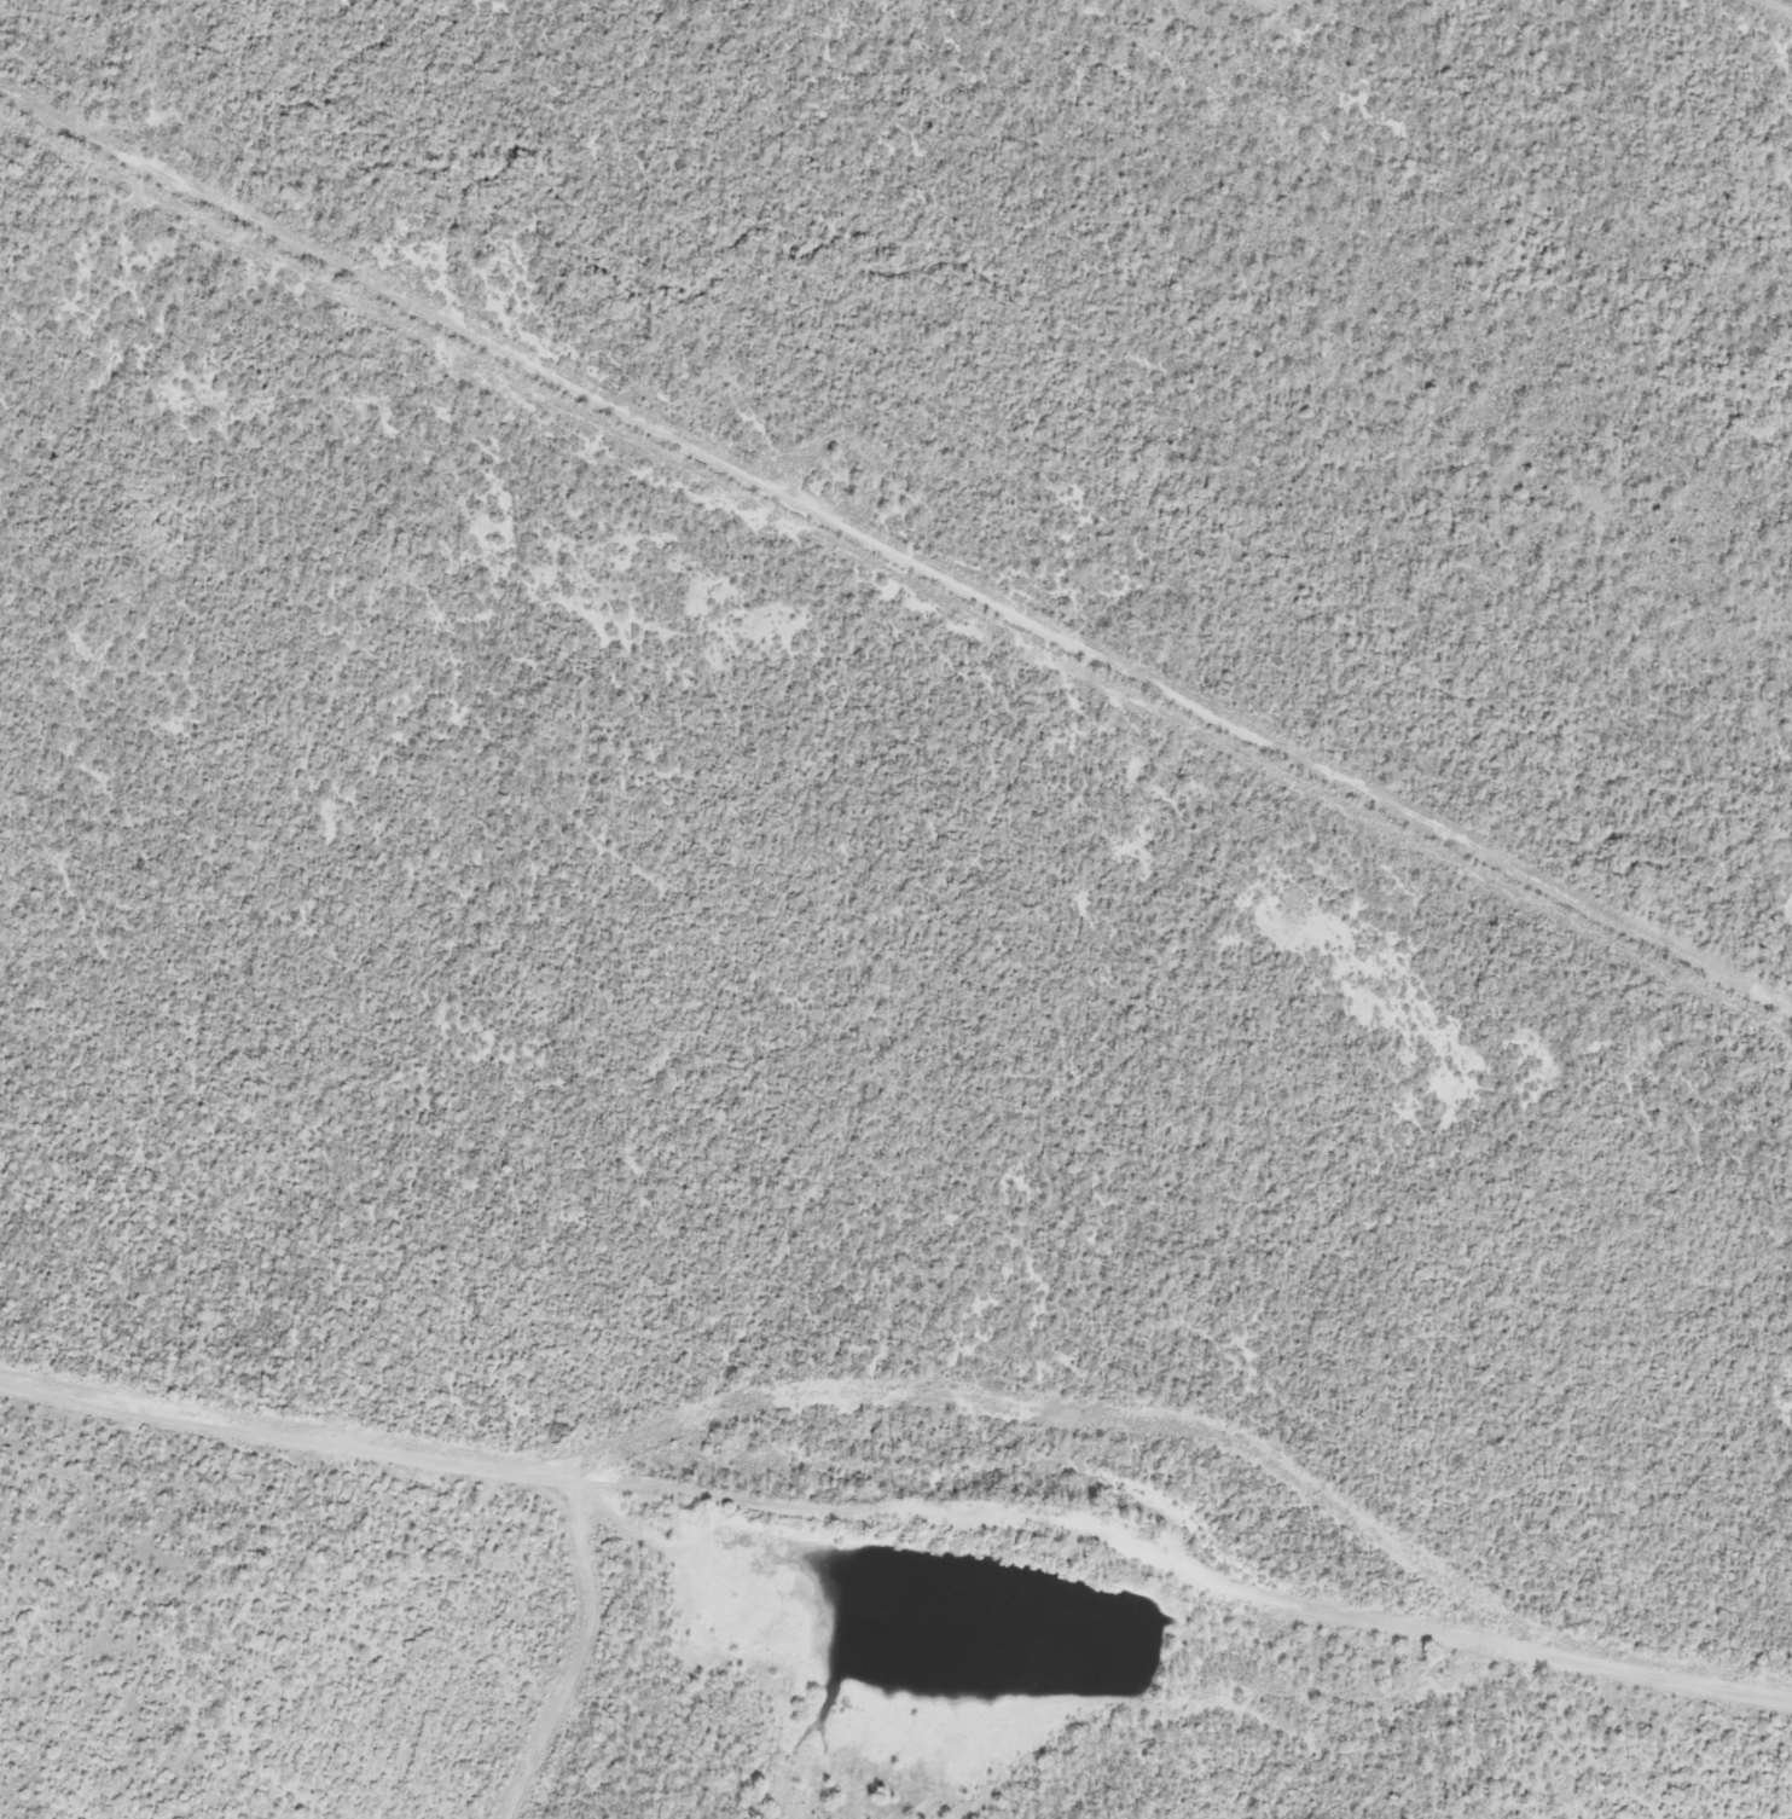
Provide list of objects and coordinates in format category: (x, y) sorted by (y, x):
road: (894, 1568)

